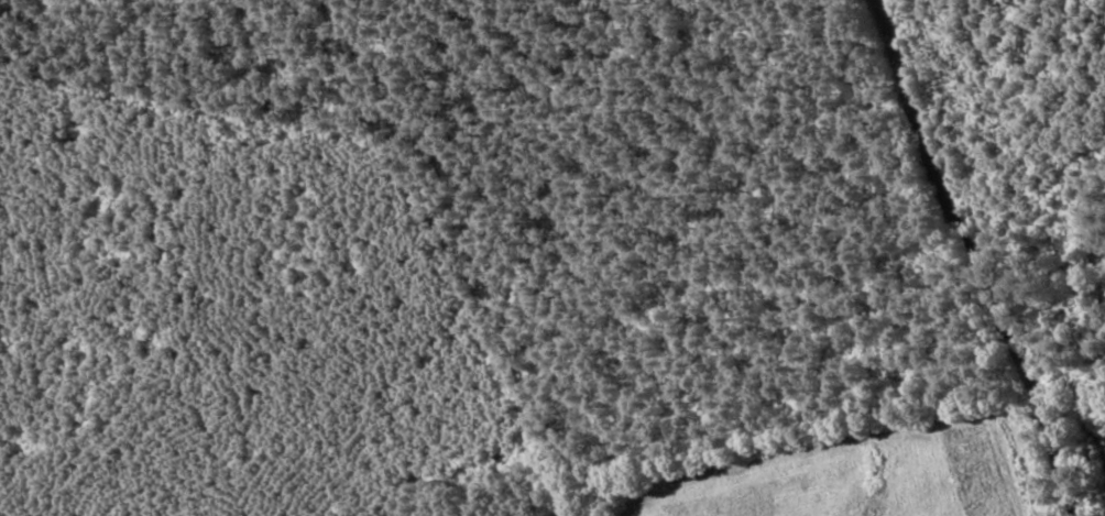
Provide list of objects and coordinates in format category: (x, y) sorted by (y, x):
road: (958, 257)

